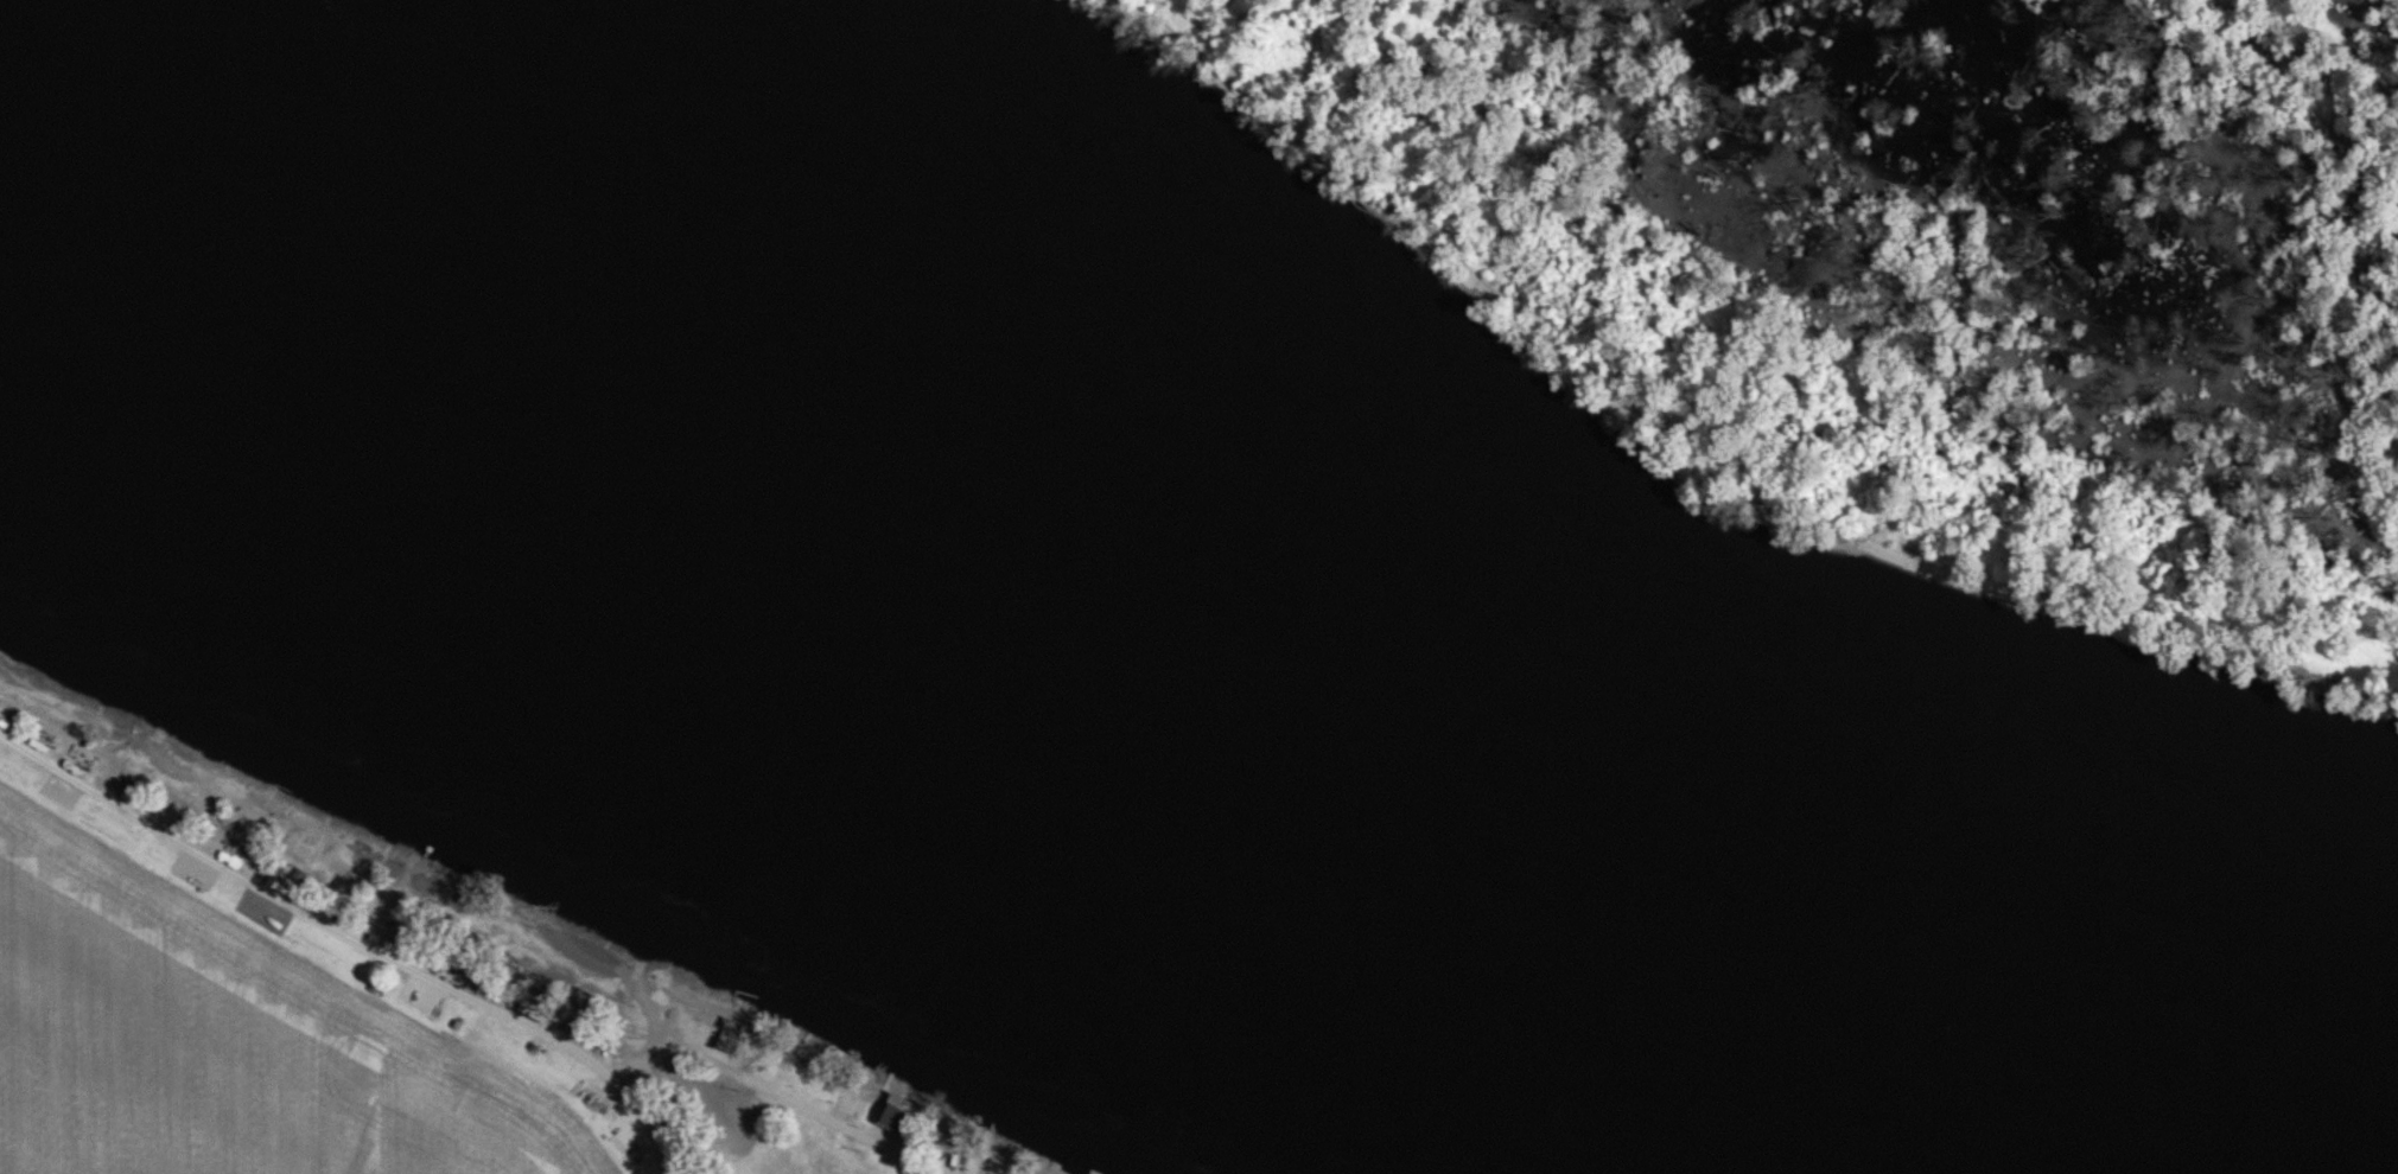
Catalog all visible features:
river: (1166, 679)
road: (440, 982)
road: (645, 1122)

